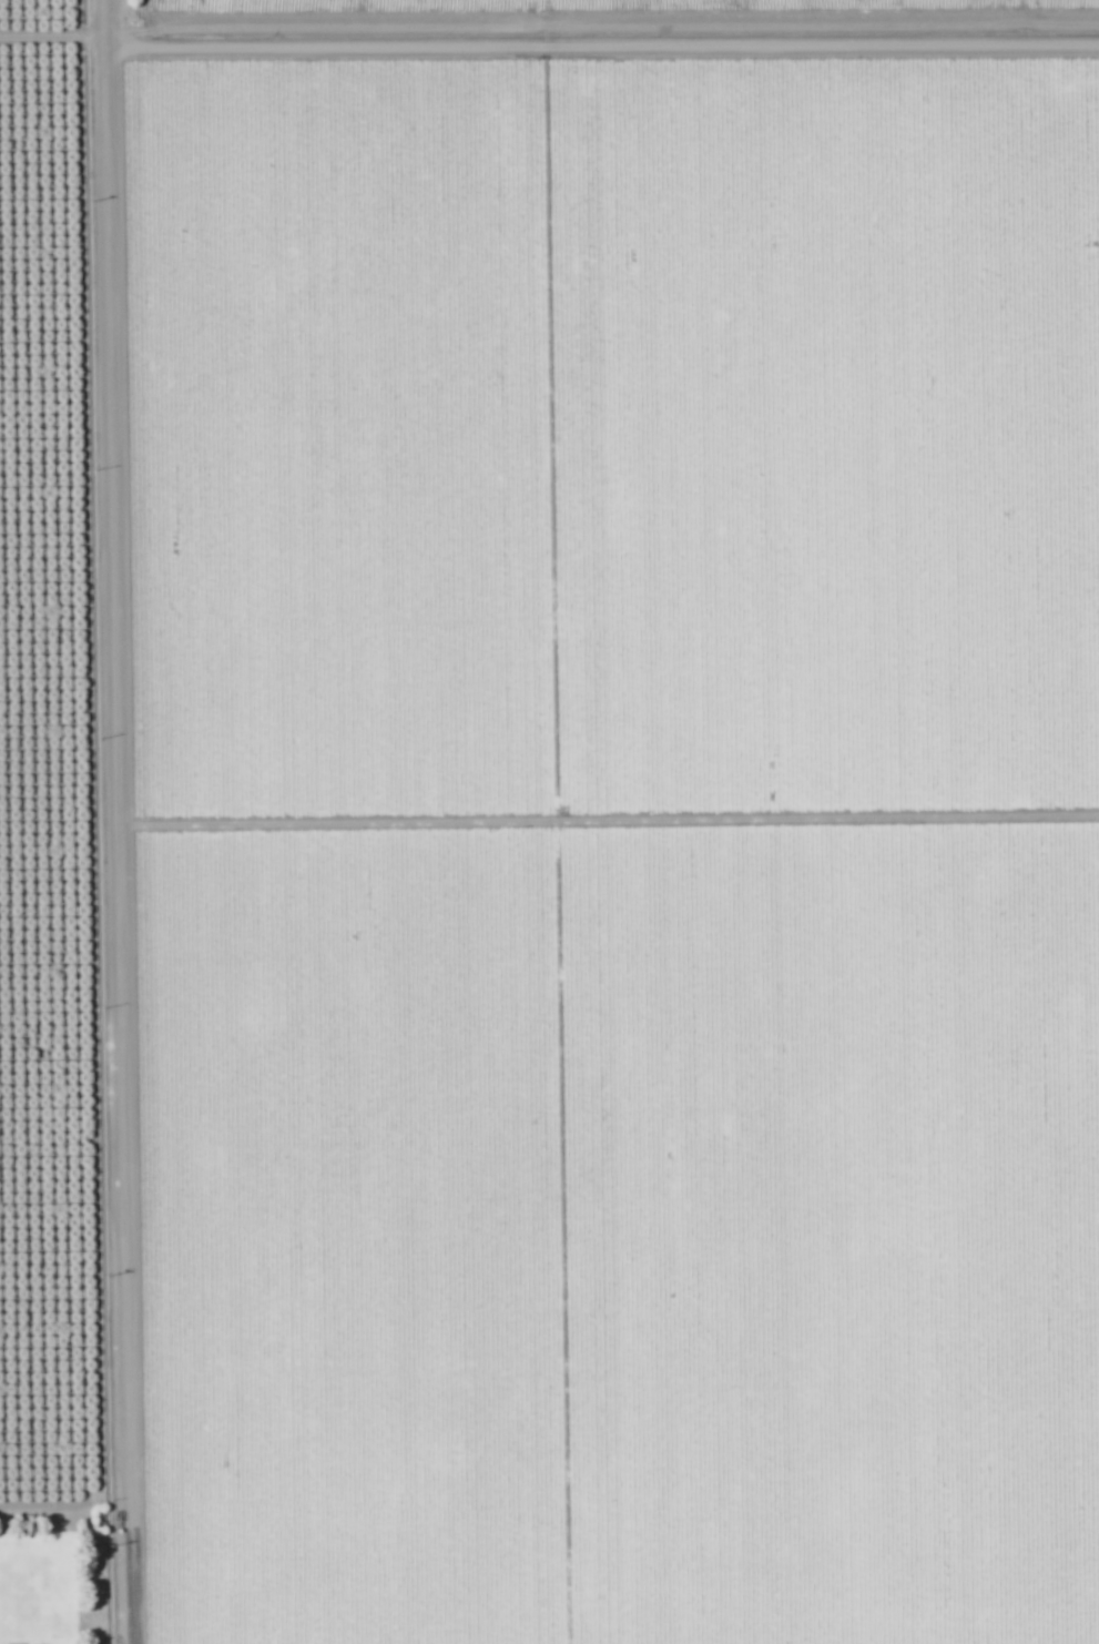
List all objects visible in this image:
crop: (573, 27)
road: (96, 821)
crop: (588, 844)

